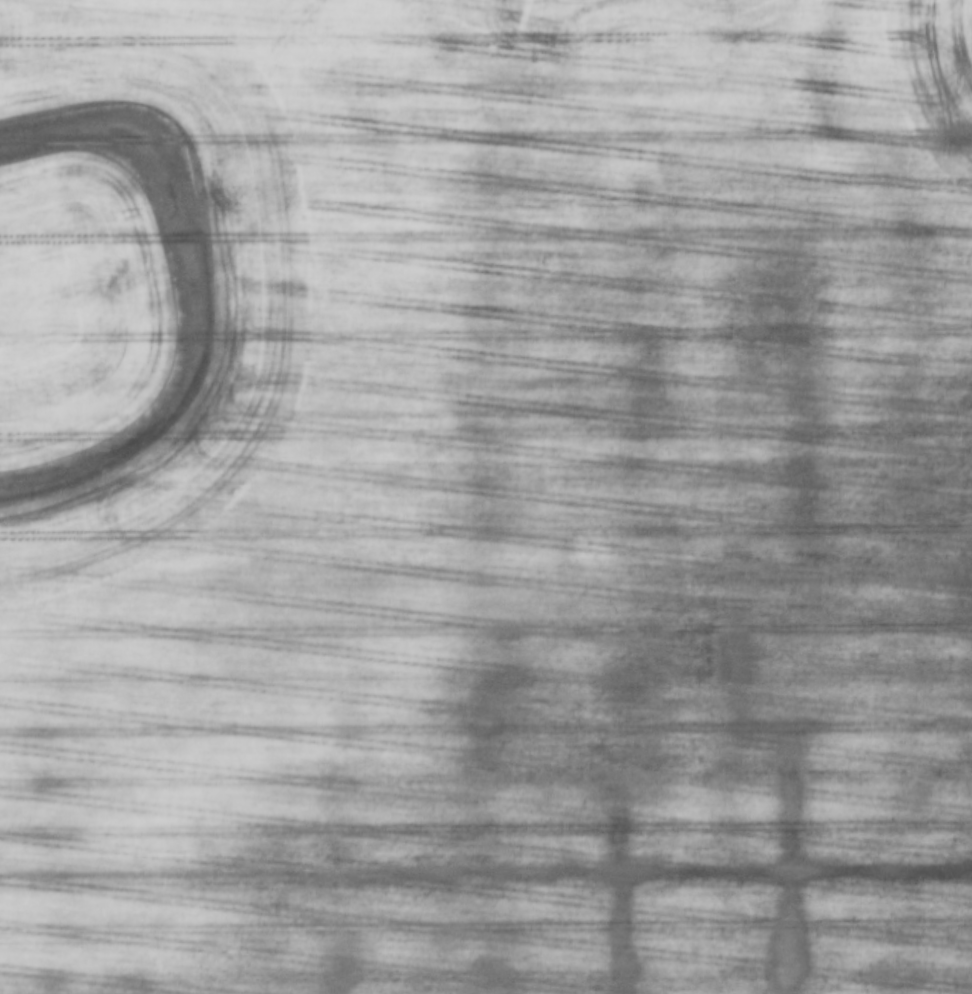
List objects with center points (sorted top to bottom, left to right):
crop: (486, 497)

